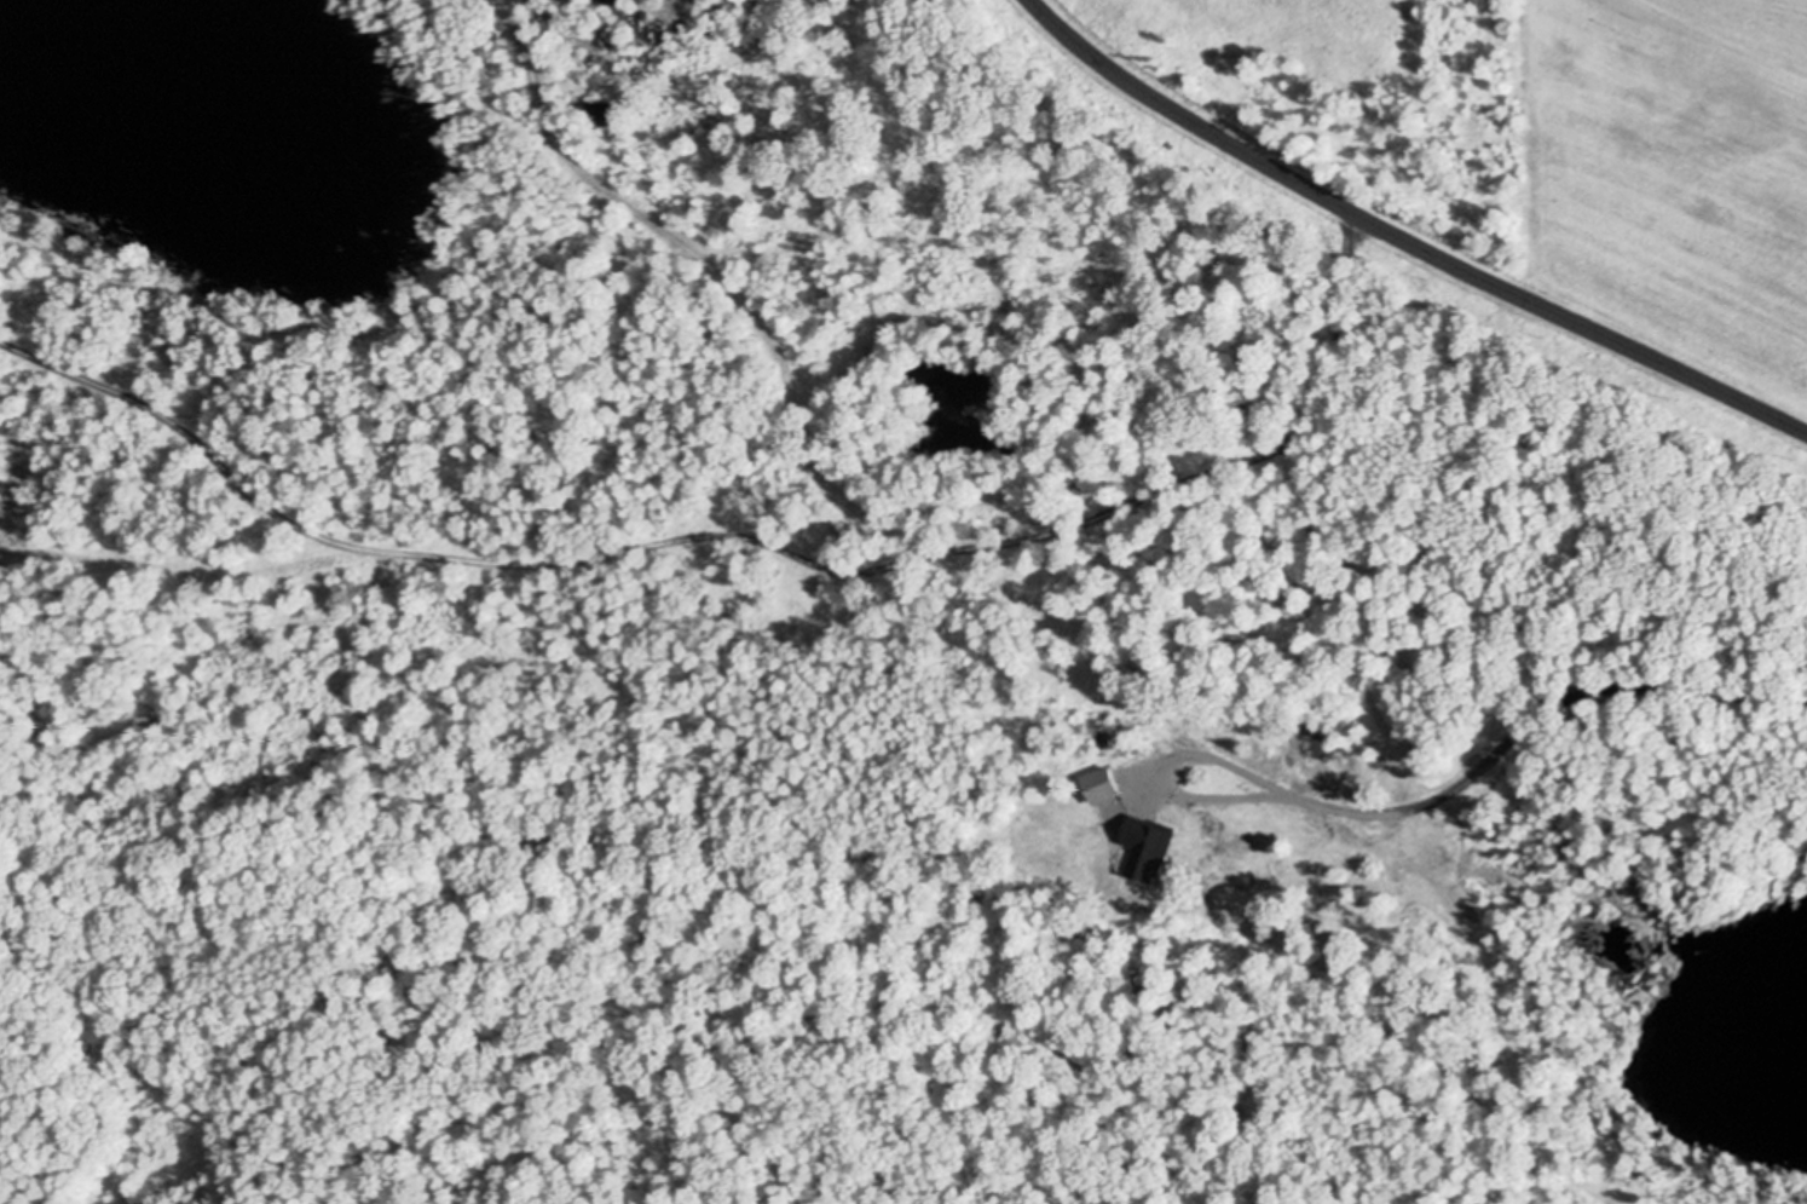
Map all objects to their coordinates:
road: (1405, 238)

